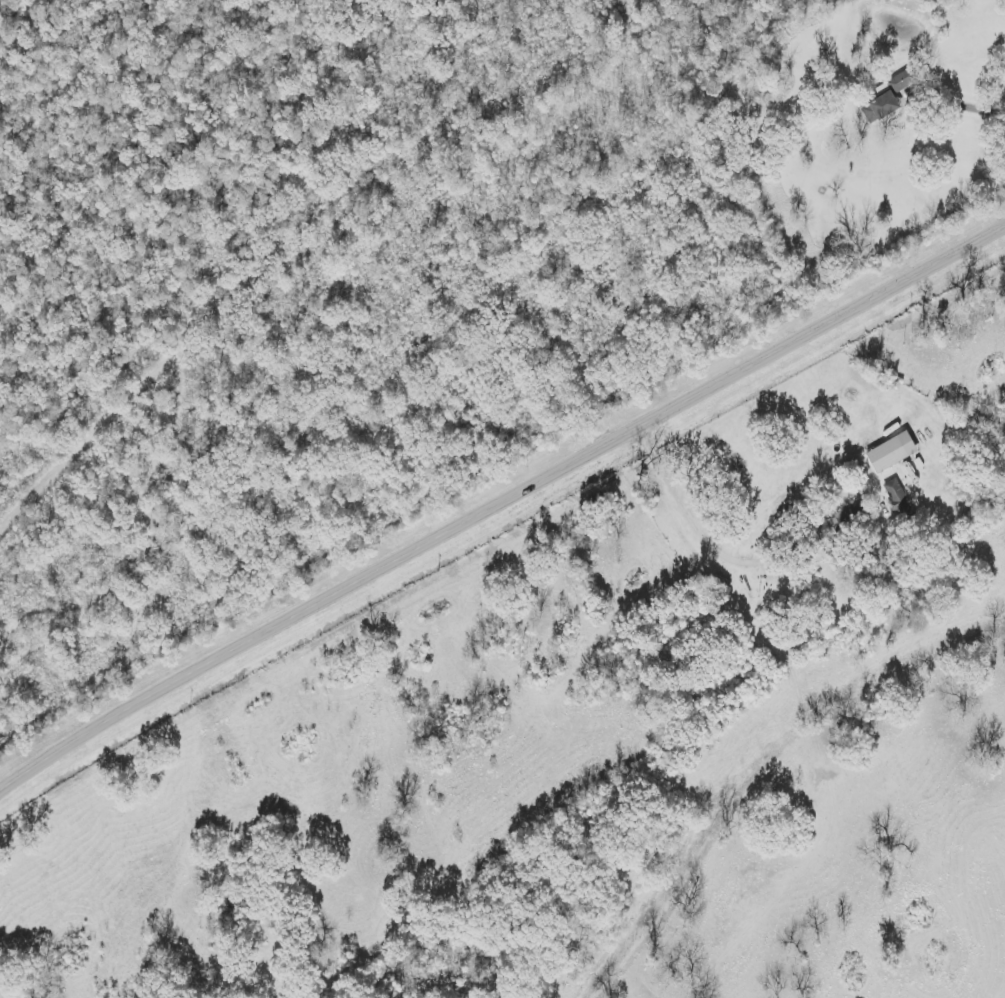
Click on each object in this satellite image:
building: (886, 99)
road: (966, 109)
building: (888, 453)
building: (896, 503)
road: (497, 505)
building: (851, 515)
road: (700, 536)

